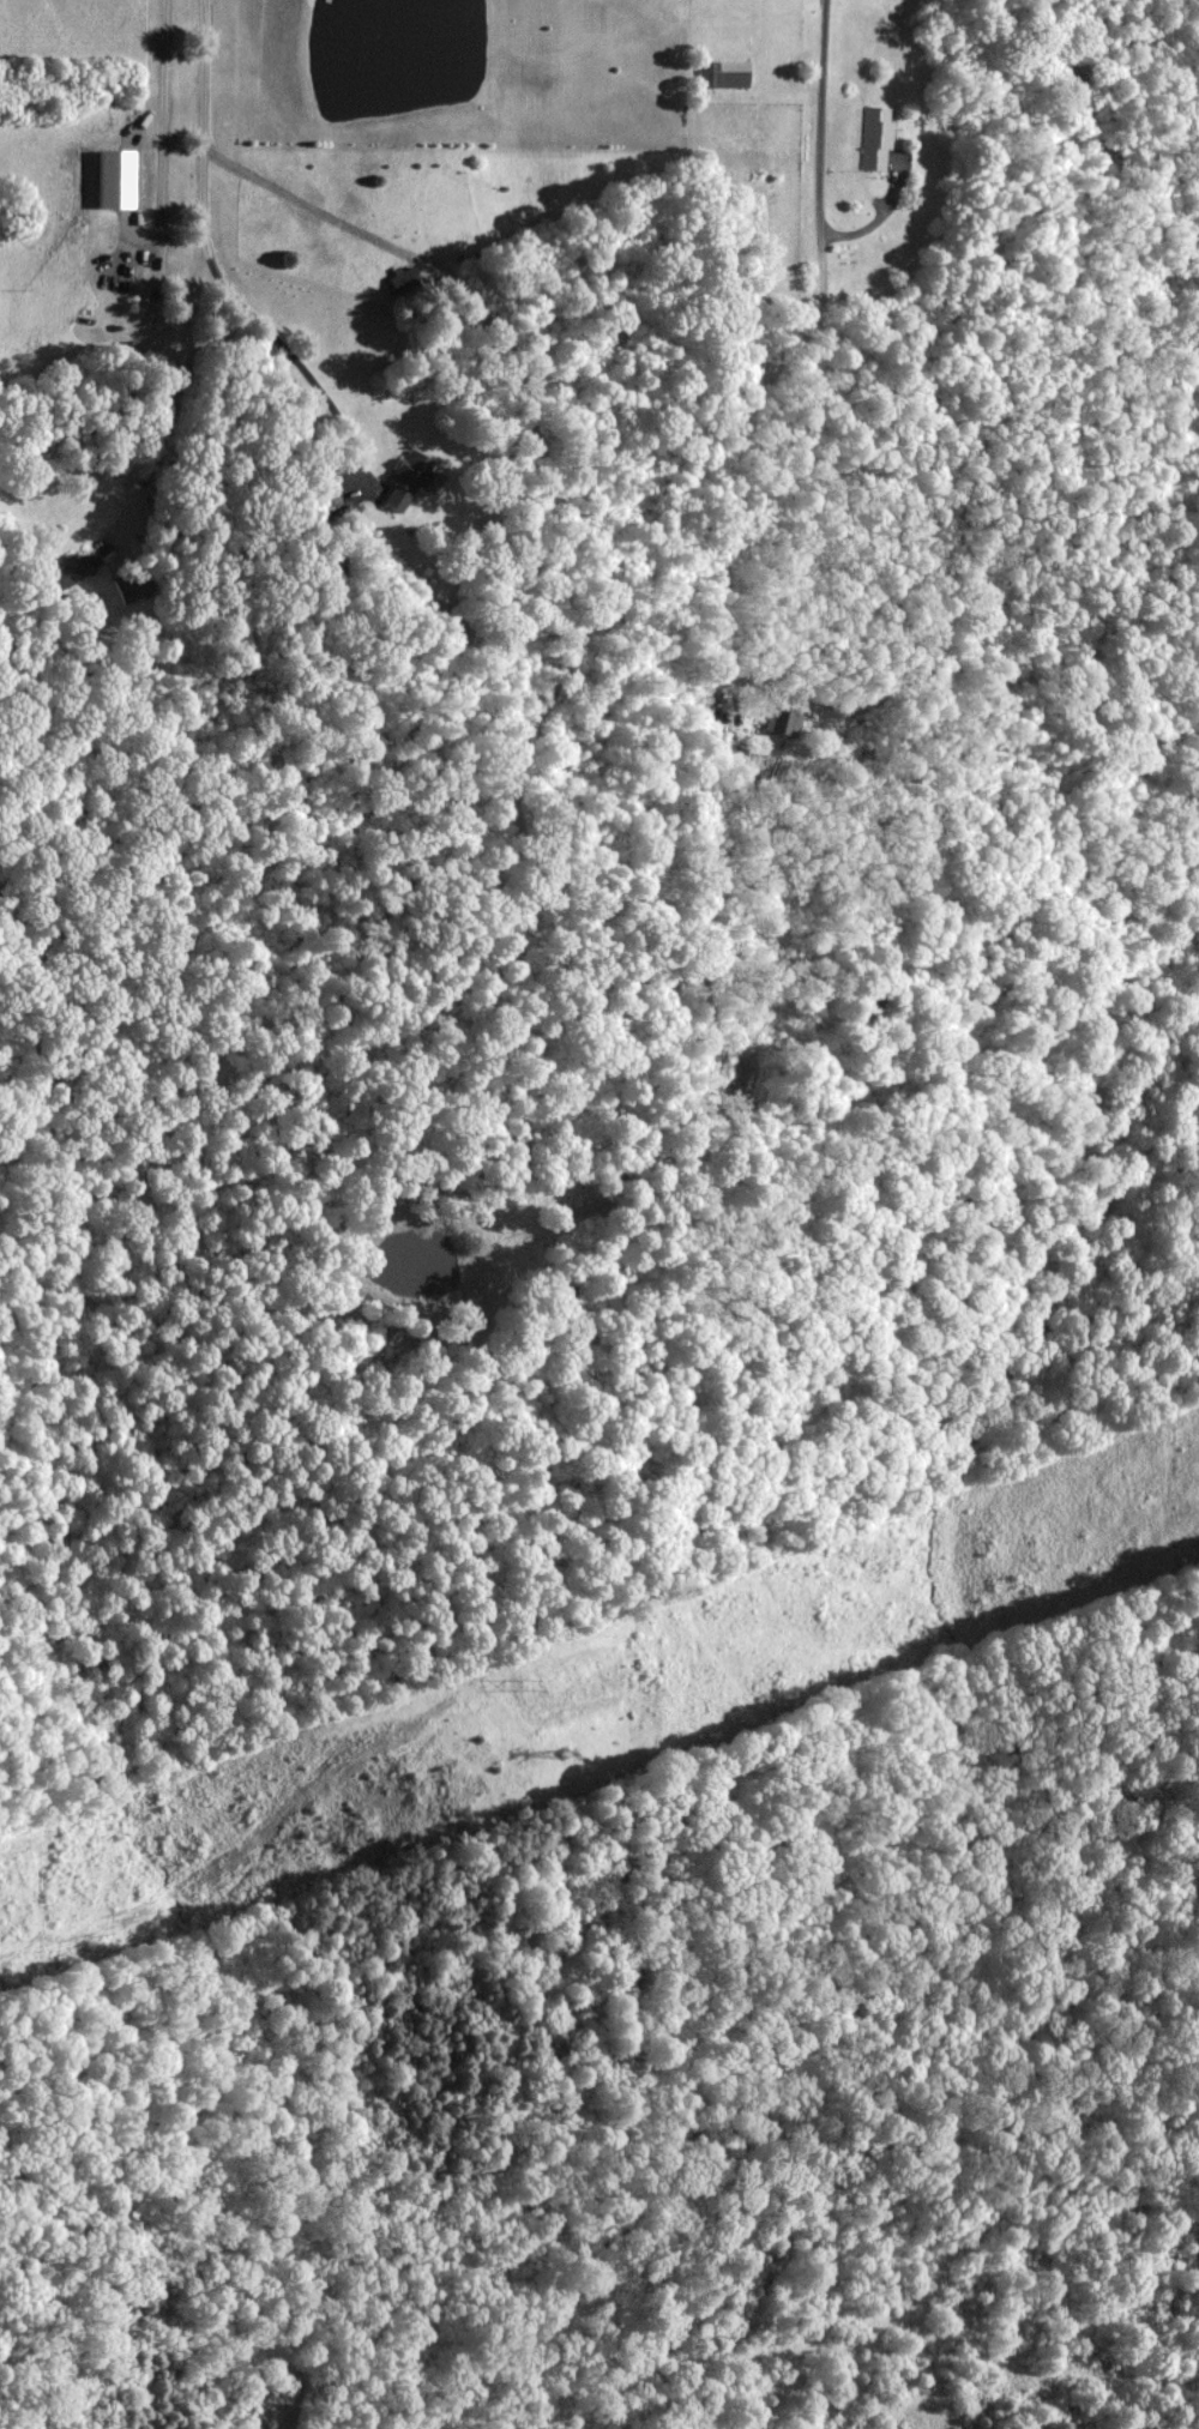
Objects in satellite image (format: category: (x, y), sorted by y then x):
building: (729, 74)
building: (875, 139)
building: (405, 481)
building: (326, 492)
building: (70, 572)
building: (127, 587)
building: (782, 723)
building: (589, 1203)

